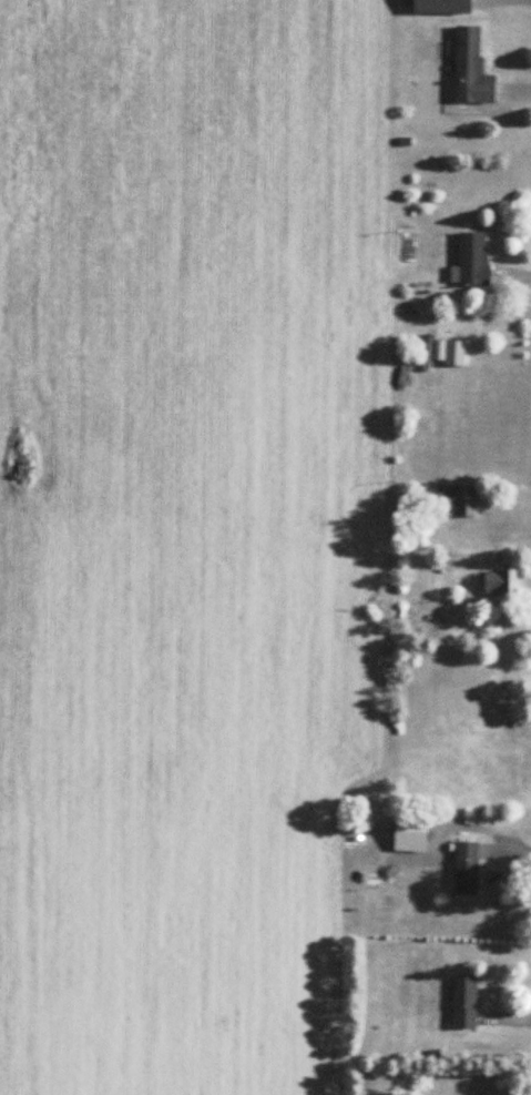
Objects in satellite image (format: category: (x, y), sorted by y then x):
building: (472, 68)
building: (472, 258)
building: (456, 353)
building: (458, 499)
building: (501, 581)
building: (467, 868)
building: (466, 1002)

